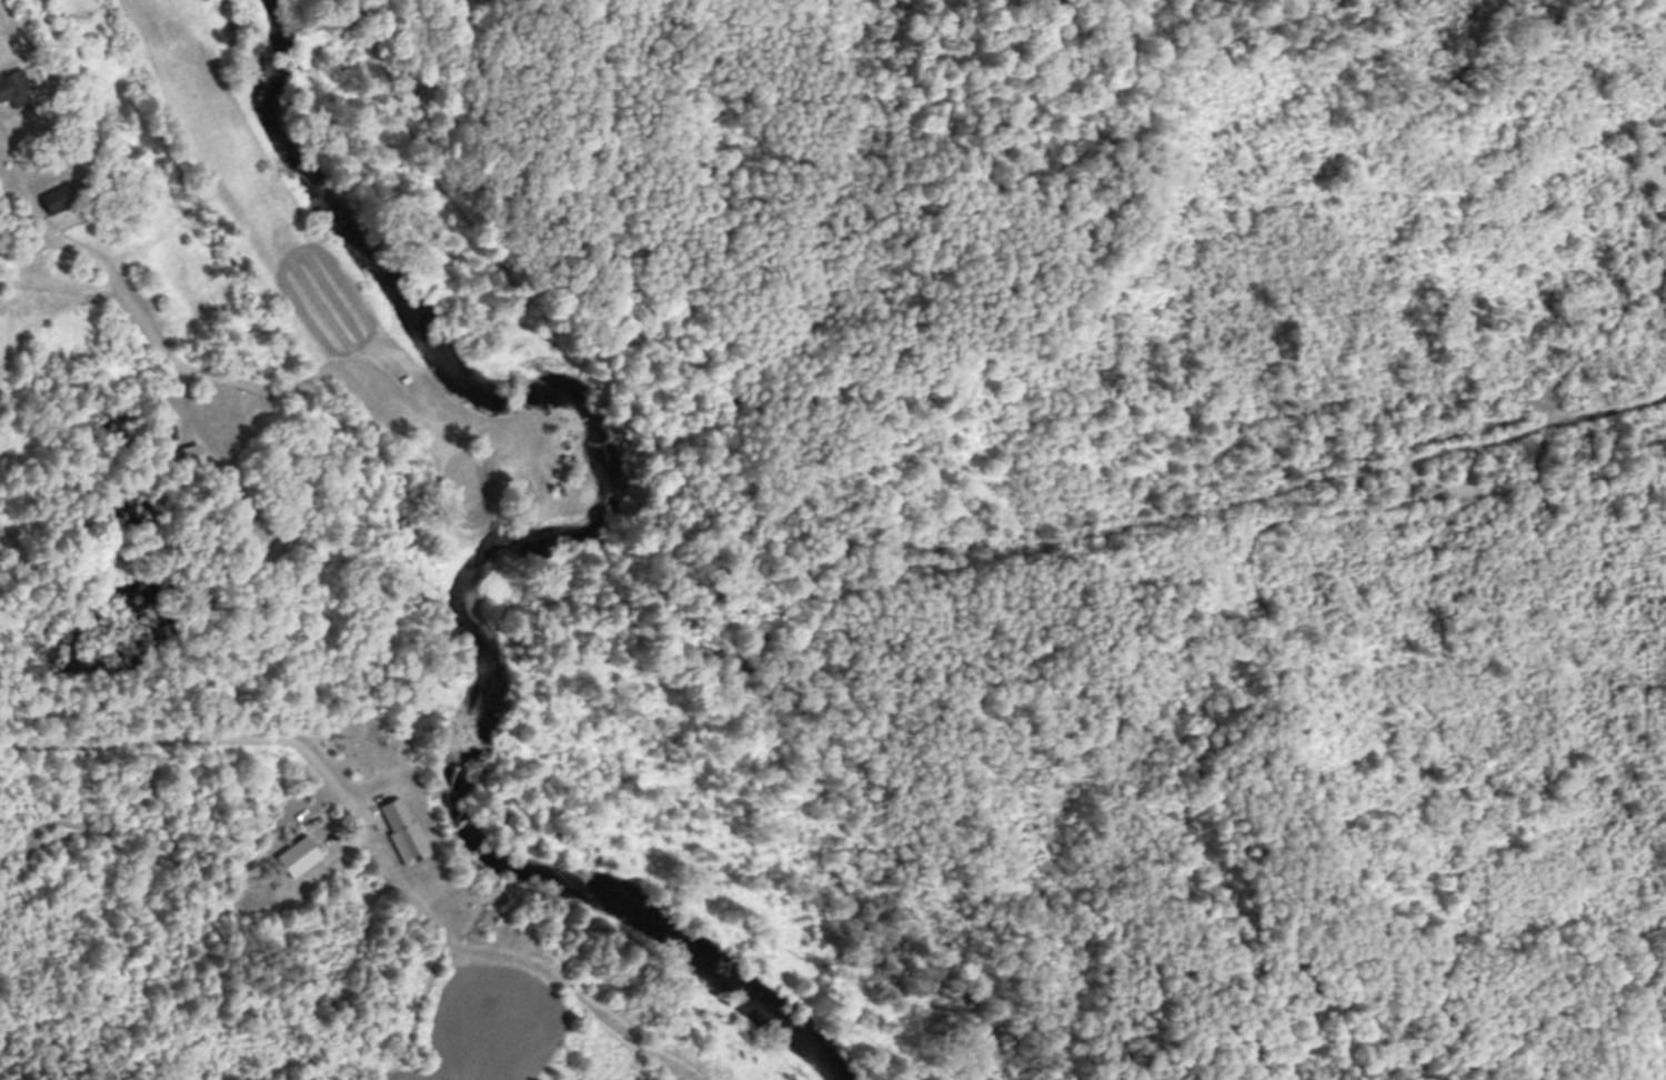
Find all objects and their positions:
building: (13, 86)
building: (52, 197)
building: (189, 453)
river: (538, 569)
building: (400, 828)
building: (293, 854)

